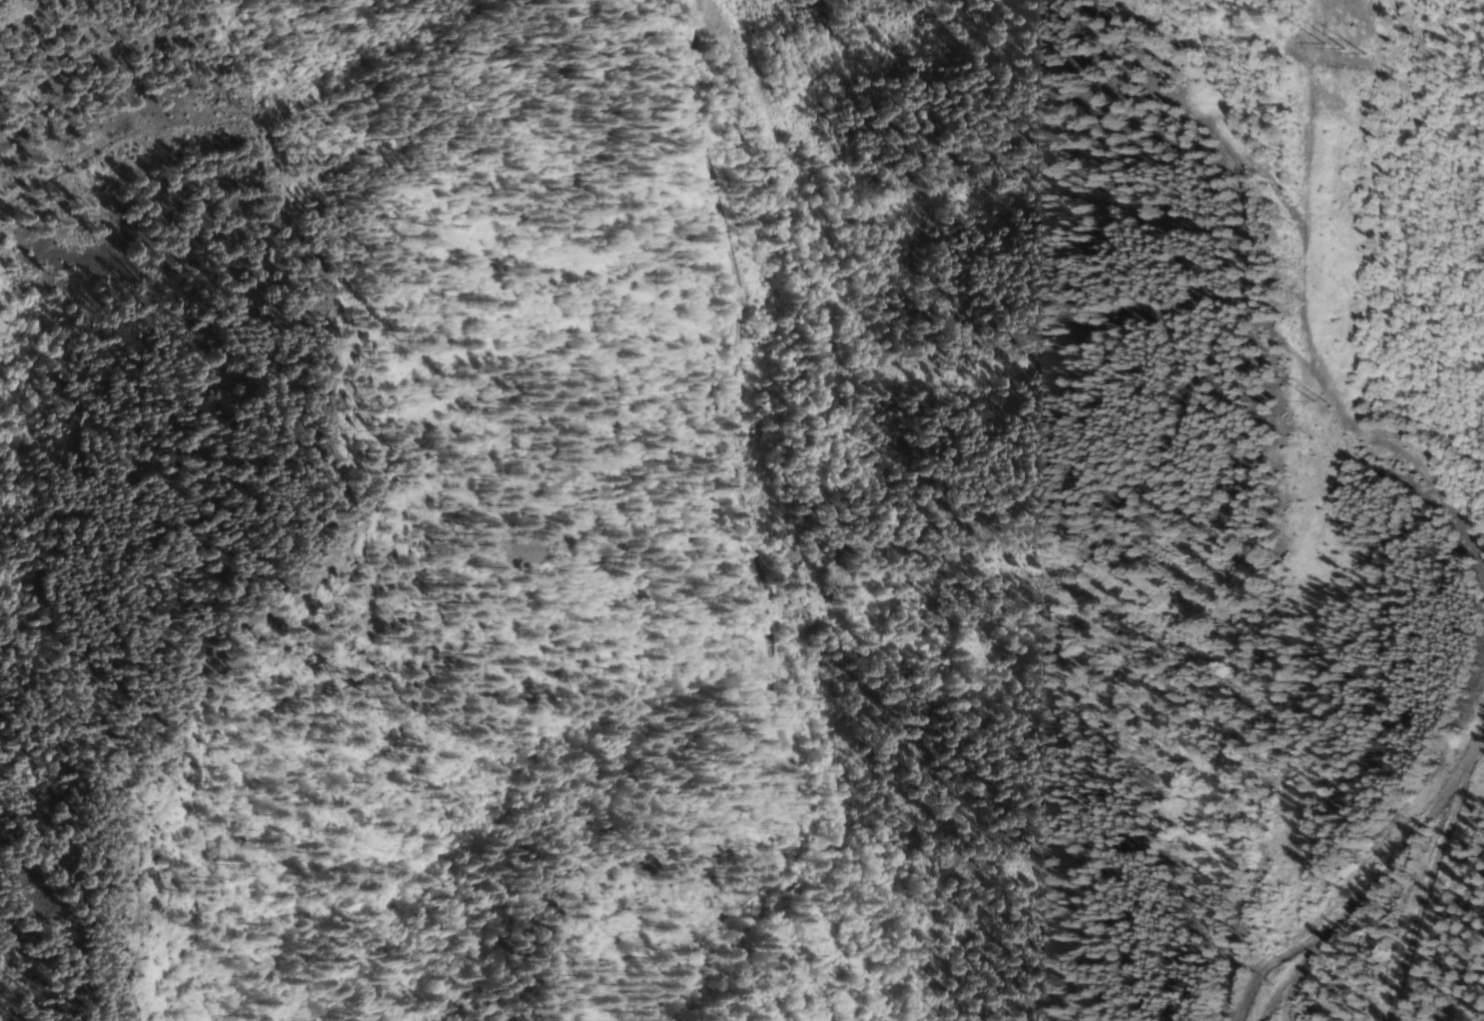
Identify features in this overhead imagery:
power tower: (1349, 50)
power tower: (1323, 402)

